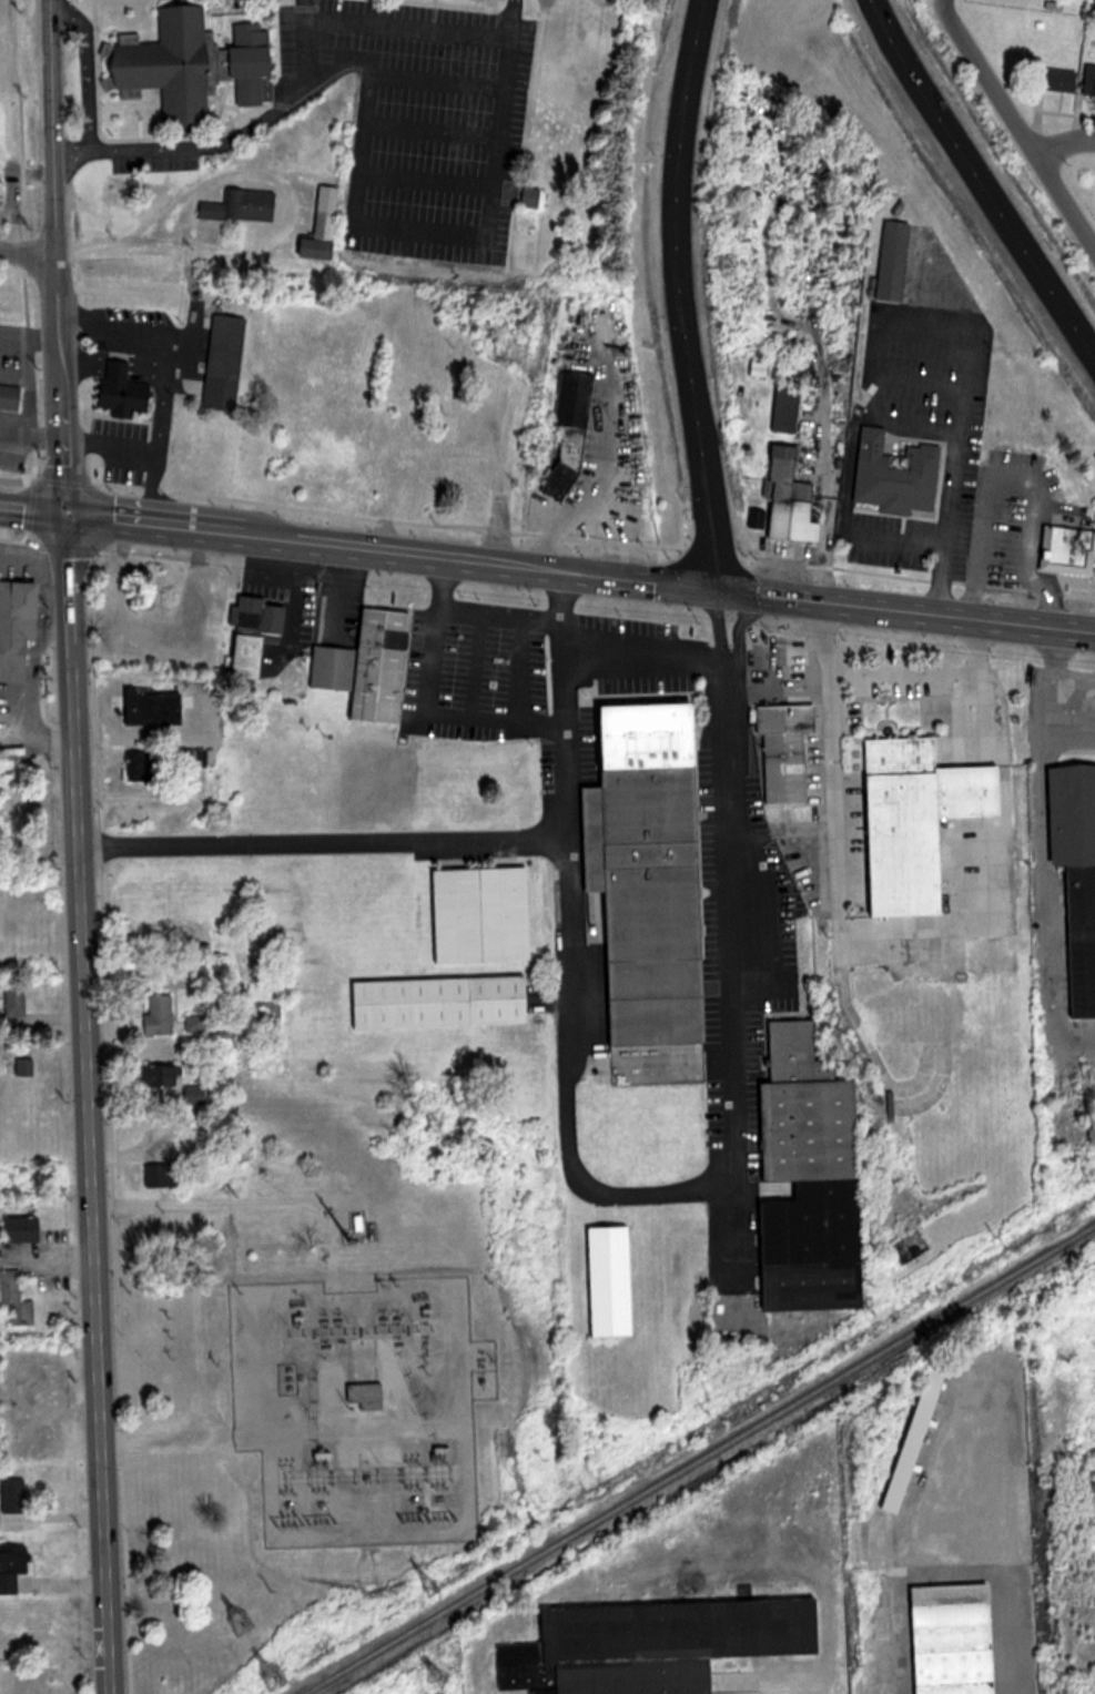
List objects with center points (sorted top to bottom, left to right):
road: (506, 21)
building: (193, 61)
building: (1036, 67)
building: (1064, 80)
road: (1018, 122)
road: (1066, 143)
building: (1, 175)
road: (979, 181)
building: (534, 197)
building: (243, 205)
building: (327, 224)
road: (29, 250)
road: (100, 250)
road: (58, 256)
building: (898, 260)
road: (680, 295)
building: (226, 362)
building: (123, 392)
building: (12, 395)
building: (789, 407)
building: (564, 432)
building: (900, 476)
building: (793, 500)
road: (33, 508)
traffic signals: (67, 513)
road: (254, 537)
building: (1067, 551)
road: (503, 568)
road: (645, 582)
traffic signals: (724, 591)
road: (565, 597)
road: (479, 611)
road: (910, 611)
building: (261, 613)
building: (19, 628)
road: (679, 647)
building: (253, 655)
building: (373, 665)
road: (927, 674)
road: (808, 683)
building: (154, 706)
road: (442, 719)
building: (788, 750)
building: (187, 757)
building: (141, 767)
building: (922, 819)
road: (323, 845)
building: (646, 853)
building: (1078, 873)
building: (486, 914)
building: (446, 1001)
building: (18, 1002)
building: (161, 1014)
building: (197, 1023)
building: (27, 1067)
building: (163, 1075)
building: (197, 1094)
road: (90, 1103)
building: (159, 1175)
building: (814, 1177)
road: (640, 1200)
building: (27, 1228)
building: (616, 1279)
building: (17, 1298)
building: (367, 1396)
power substation: (361, 1404)
road: (201, 1417)
building: (920, 1439)
road: (168, 1440)
railway: (703, 1462)
building: (16, 1500)
building: (13, 1566)
power tower: (435, 1591)
power tower: (242, 1622)
building: (959, 1639)
building: (628, 1649)
power tower: (272, 1674)
power tower: (444, 1680)

